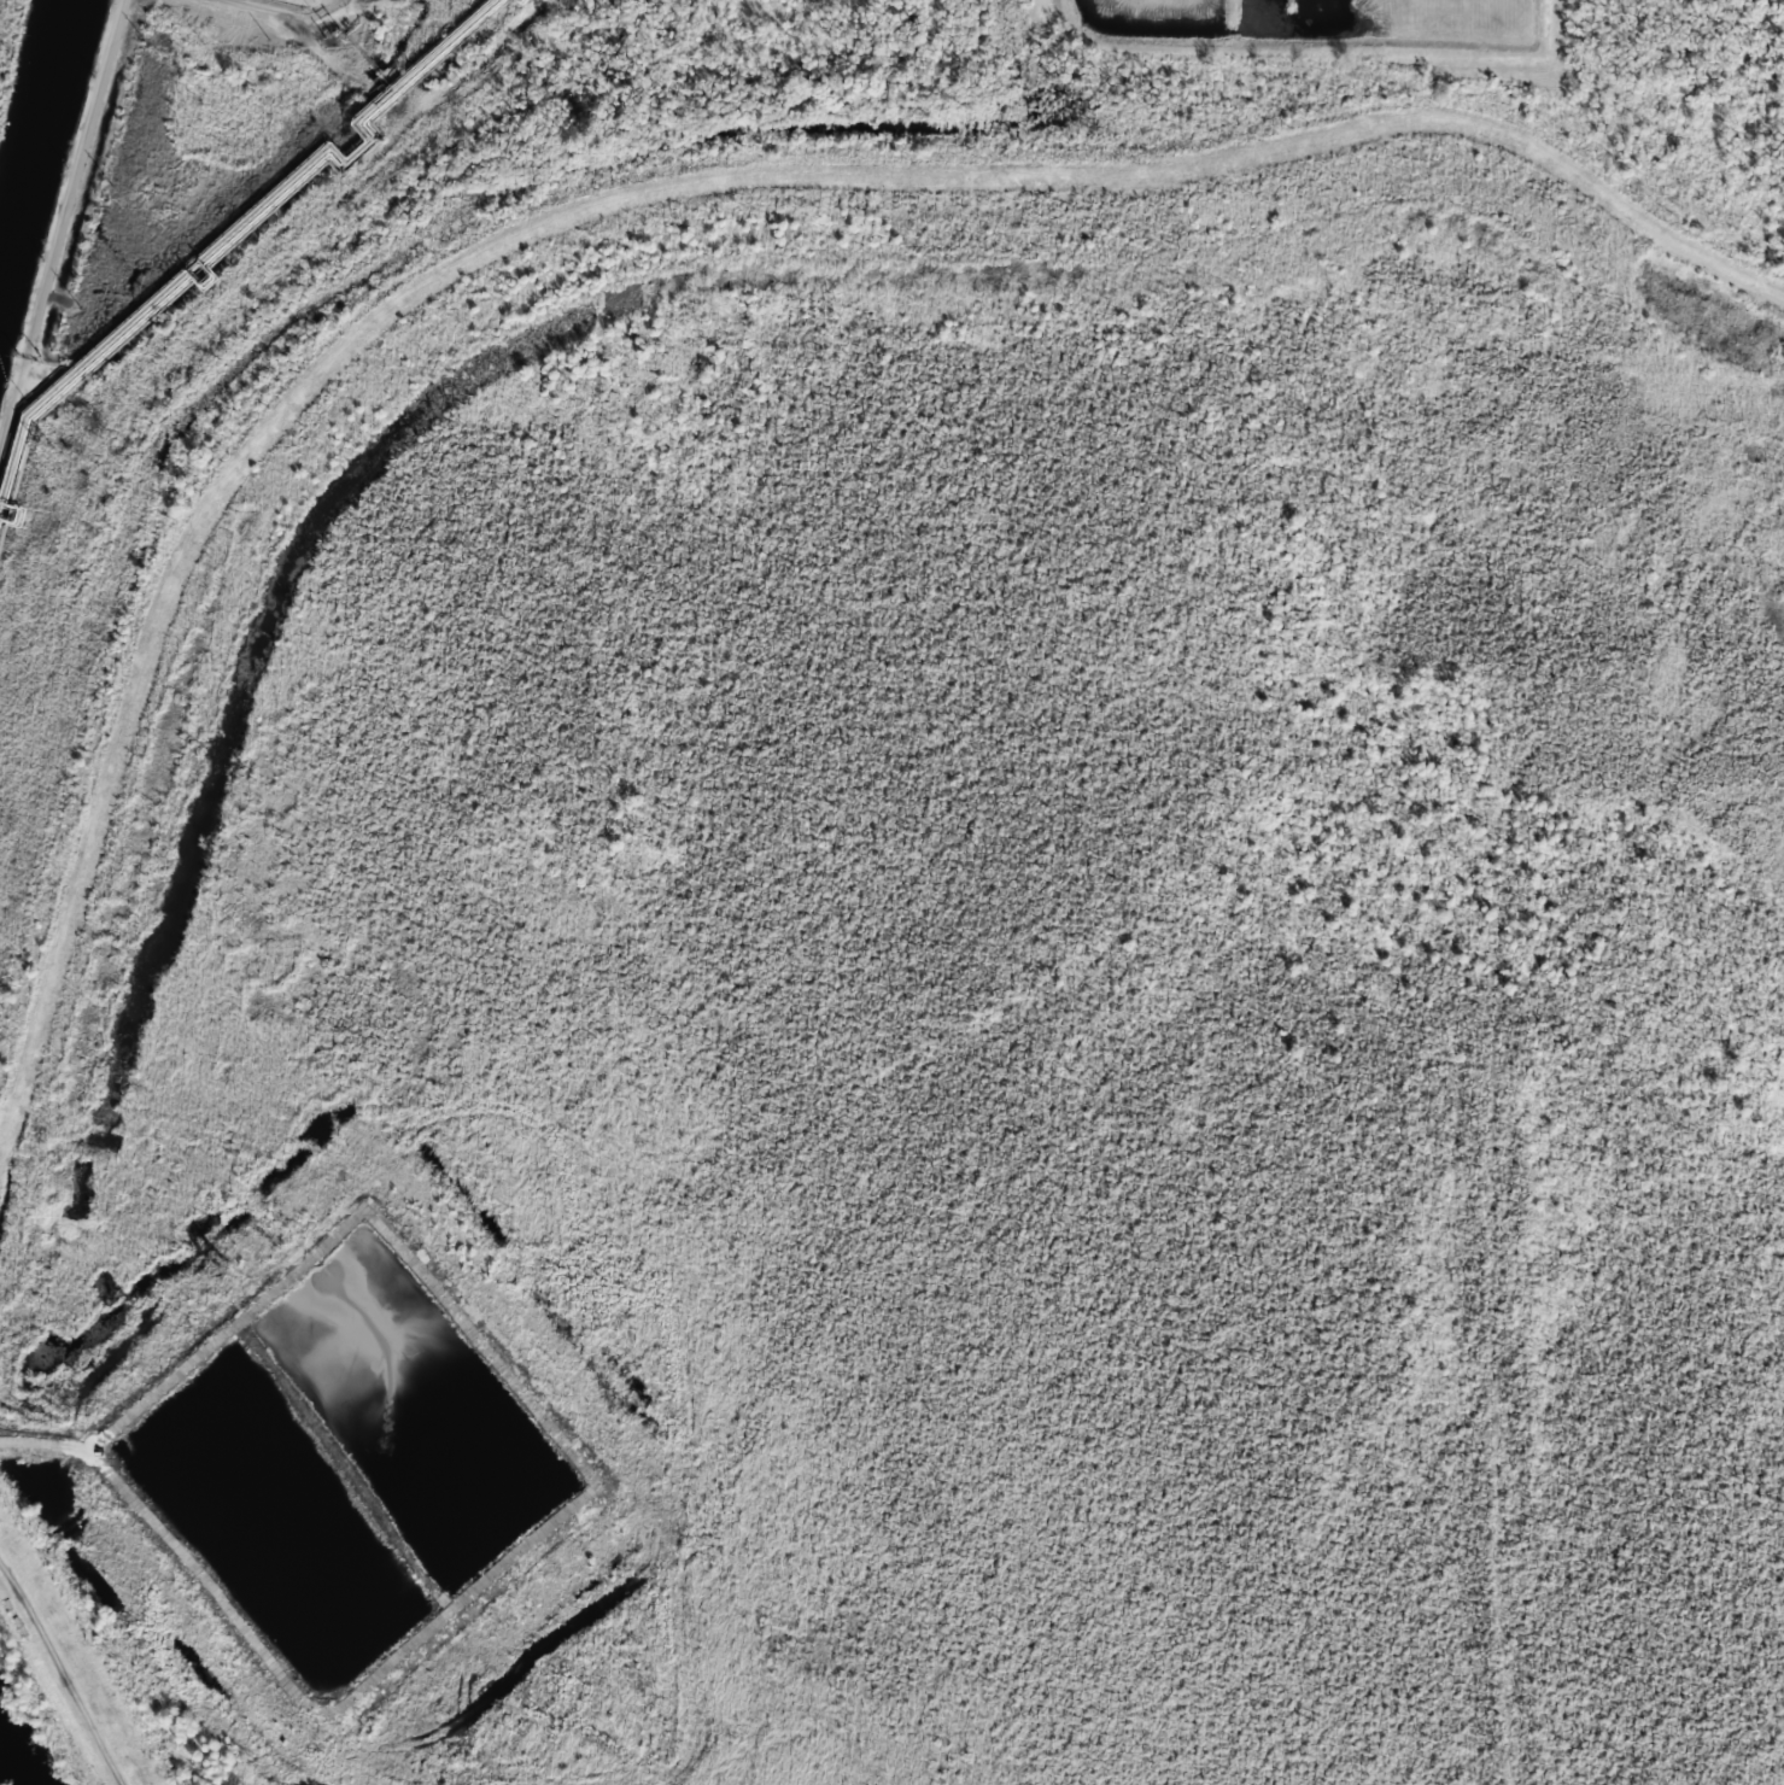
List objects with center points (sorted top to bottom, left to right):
road: (71, 253)

